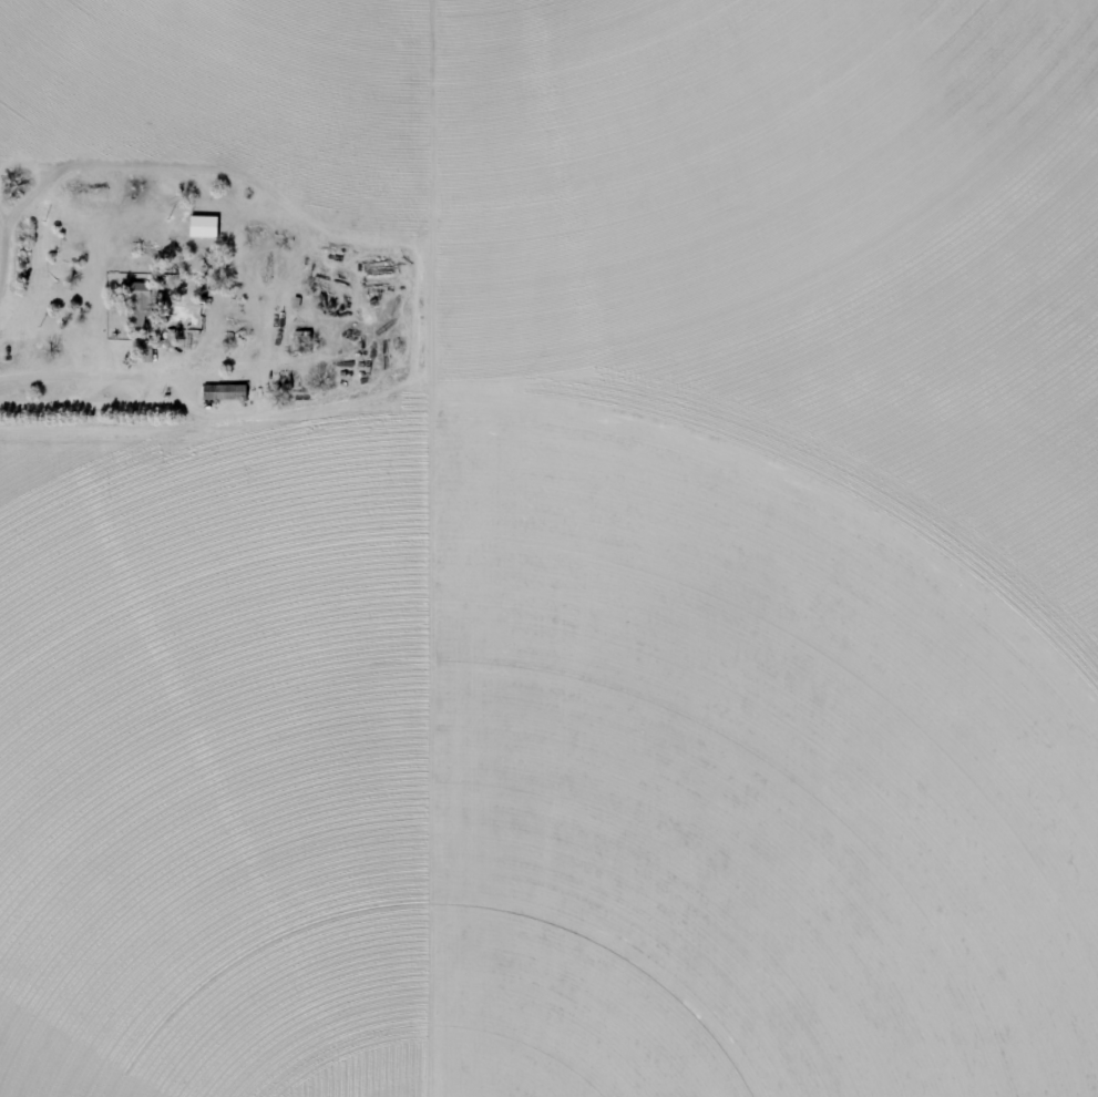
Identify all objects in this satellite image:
building: (205, 226)
road: (75, 406)

